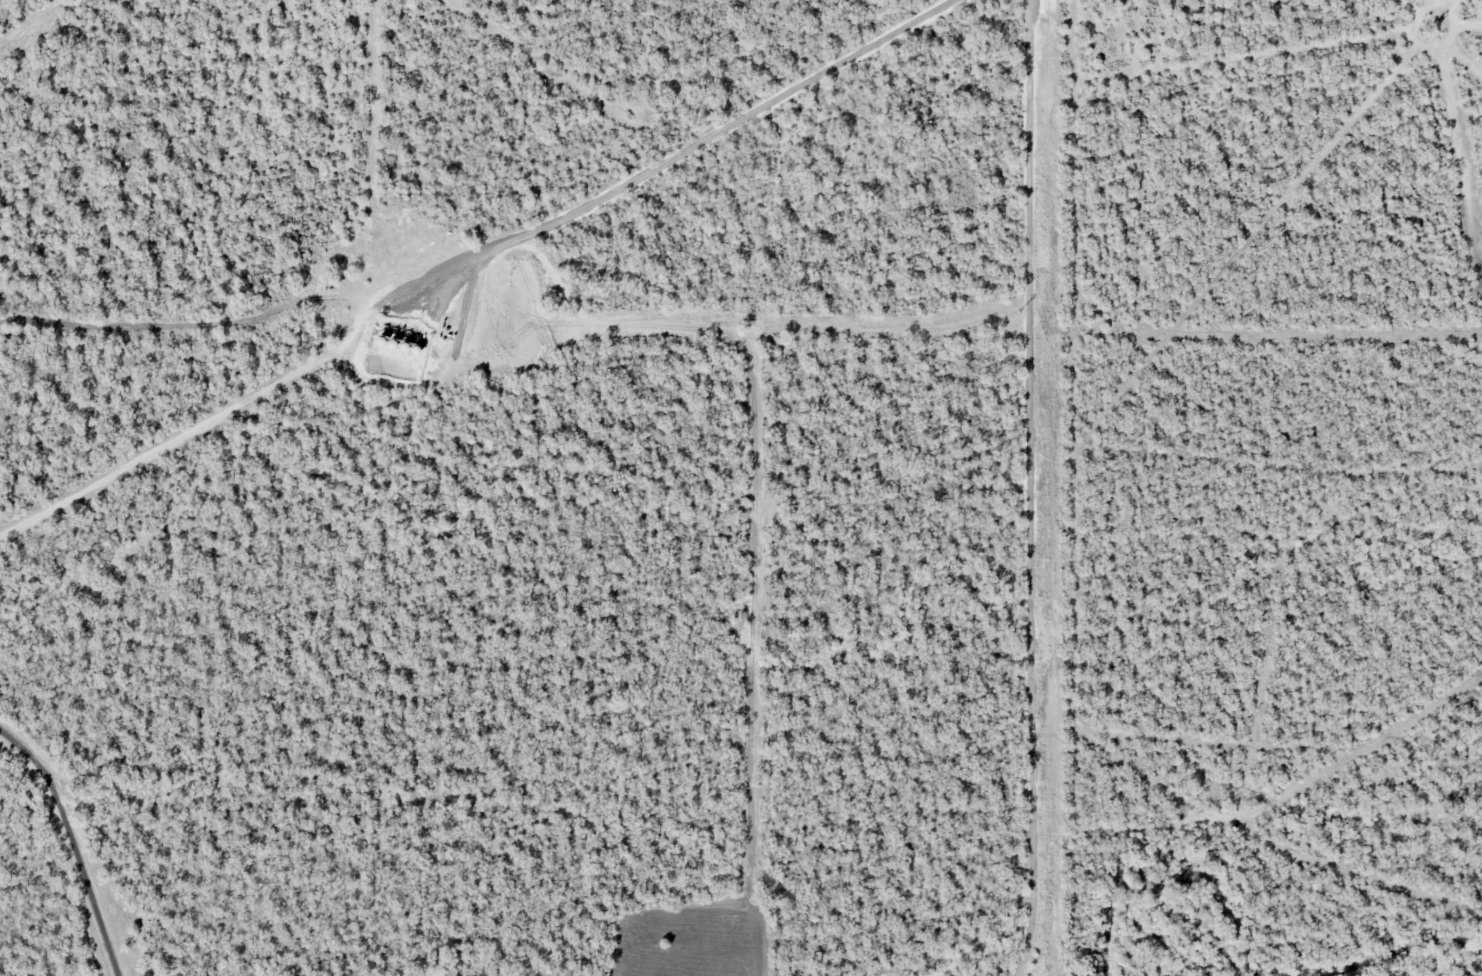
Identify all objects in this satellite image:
road: (652, 166)
road: (174, 449)
road: (1031, 489)
road: (72, 843)

